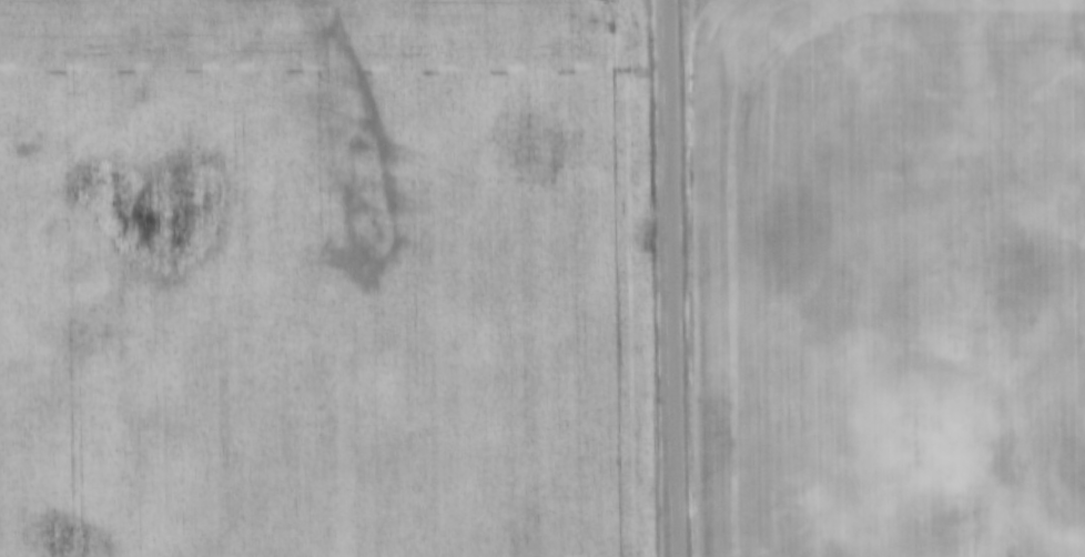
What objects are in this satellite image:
road: (672, 278)

